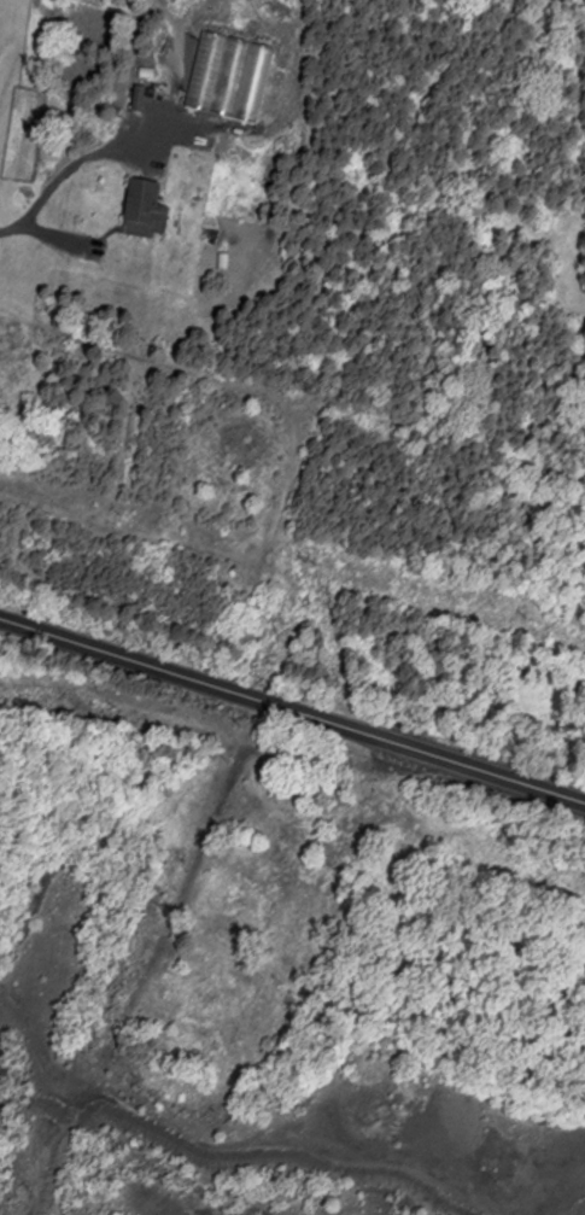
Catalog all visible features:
building: (150, 205)
road: (11, 230)
road: (292, 708)
quarry: (253, 1063)
road: (246, 1147)

